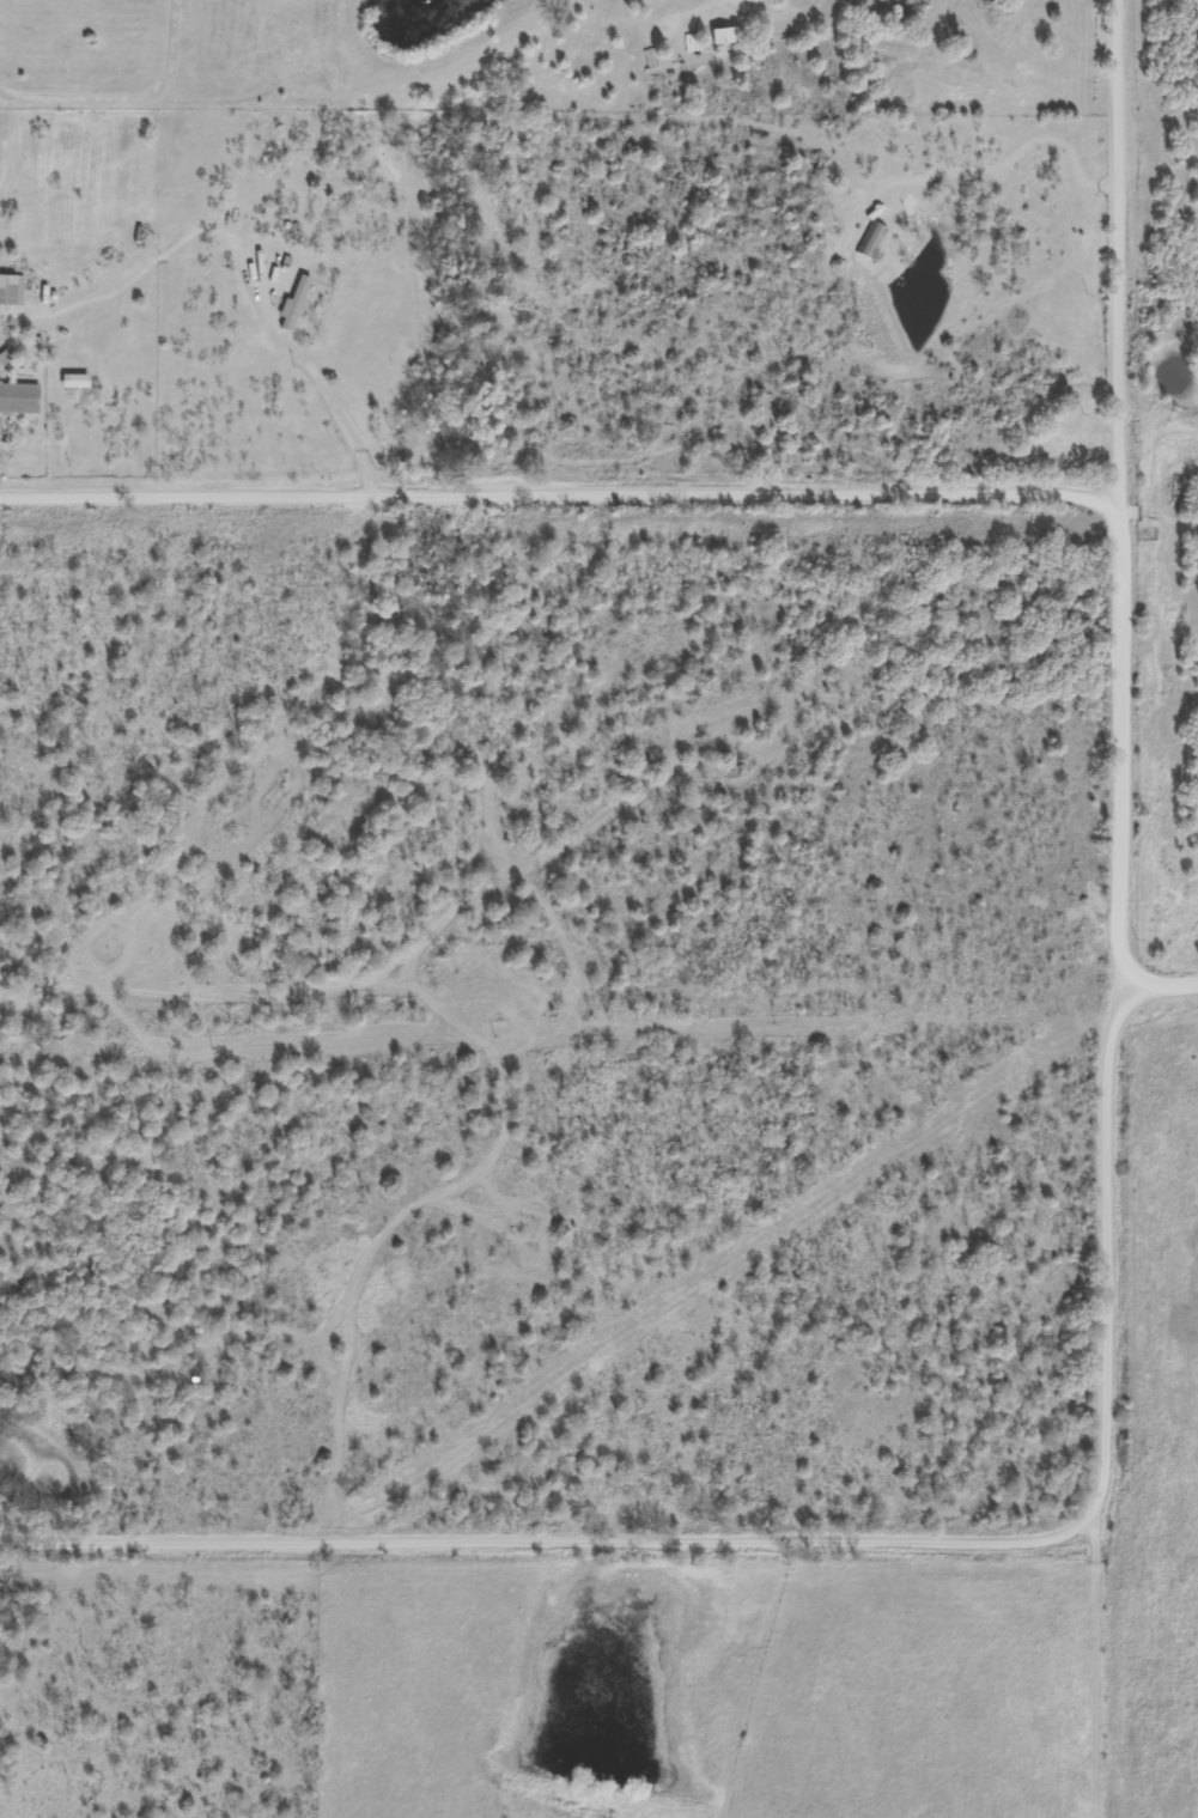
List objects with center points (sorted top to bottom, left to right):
building: (719, 36)
building: (869, 241)
road: (226, 268)
building: (10, 290)
building: (72, 381)
building: (18, 399)
building: (1064, 438)
road: (566, 495)
road: (1121, 501)
road: (1144, 996)
road: (801, 1548)
road: (1058, 1683)

